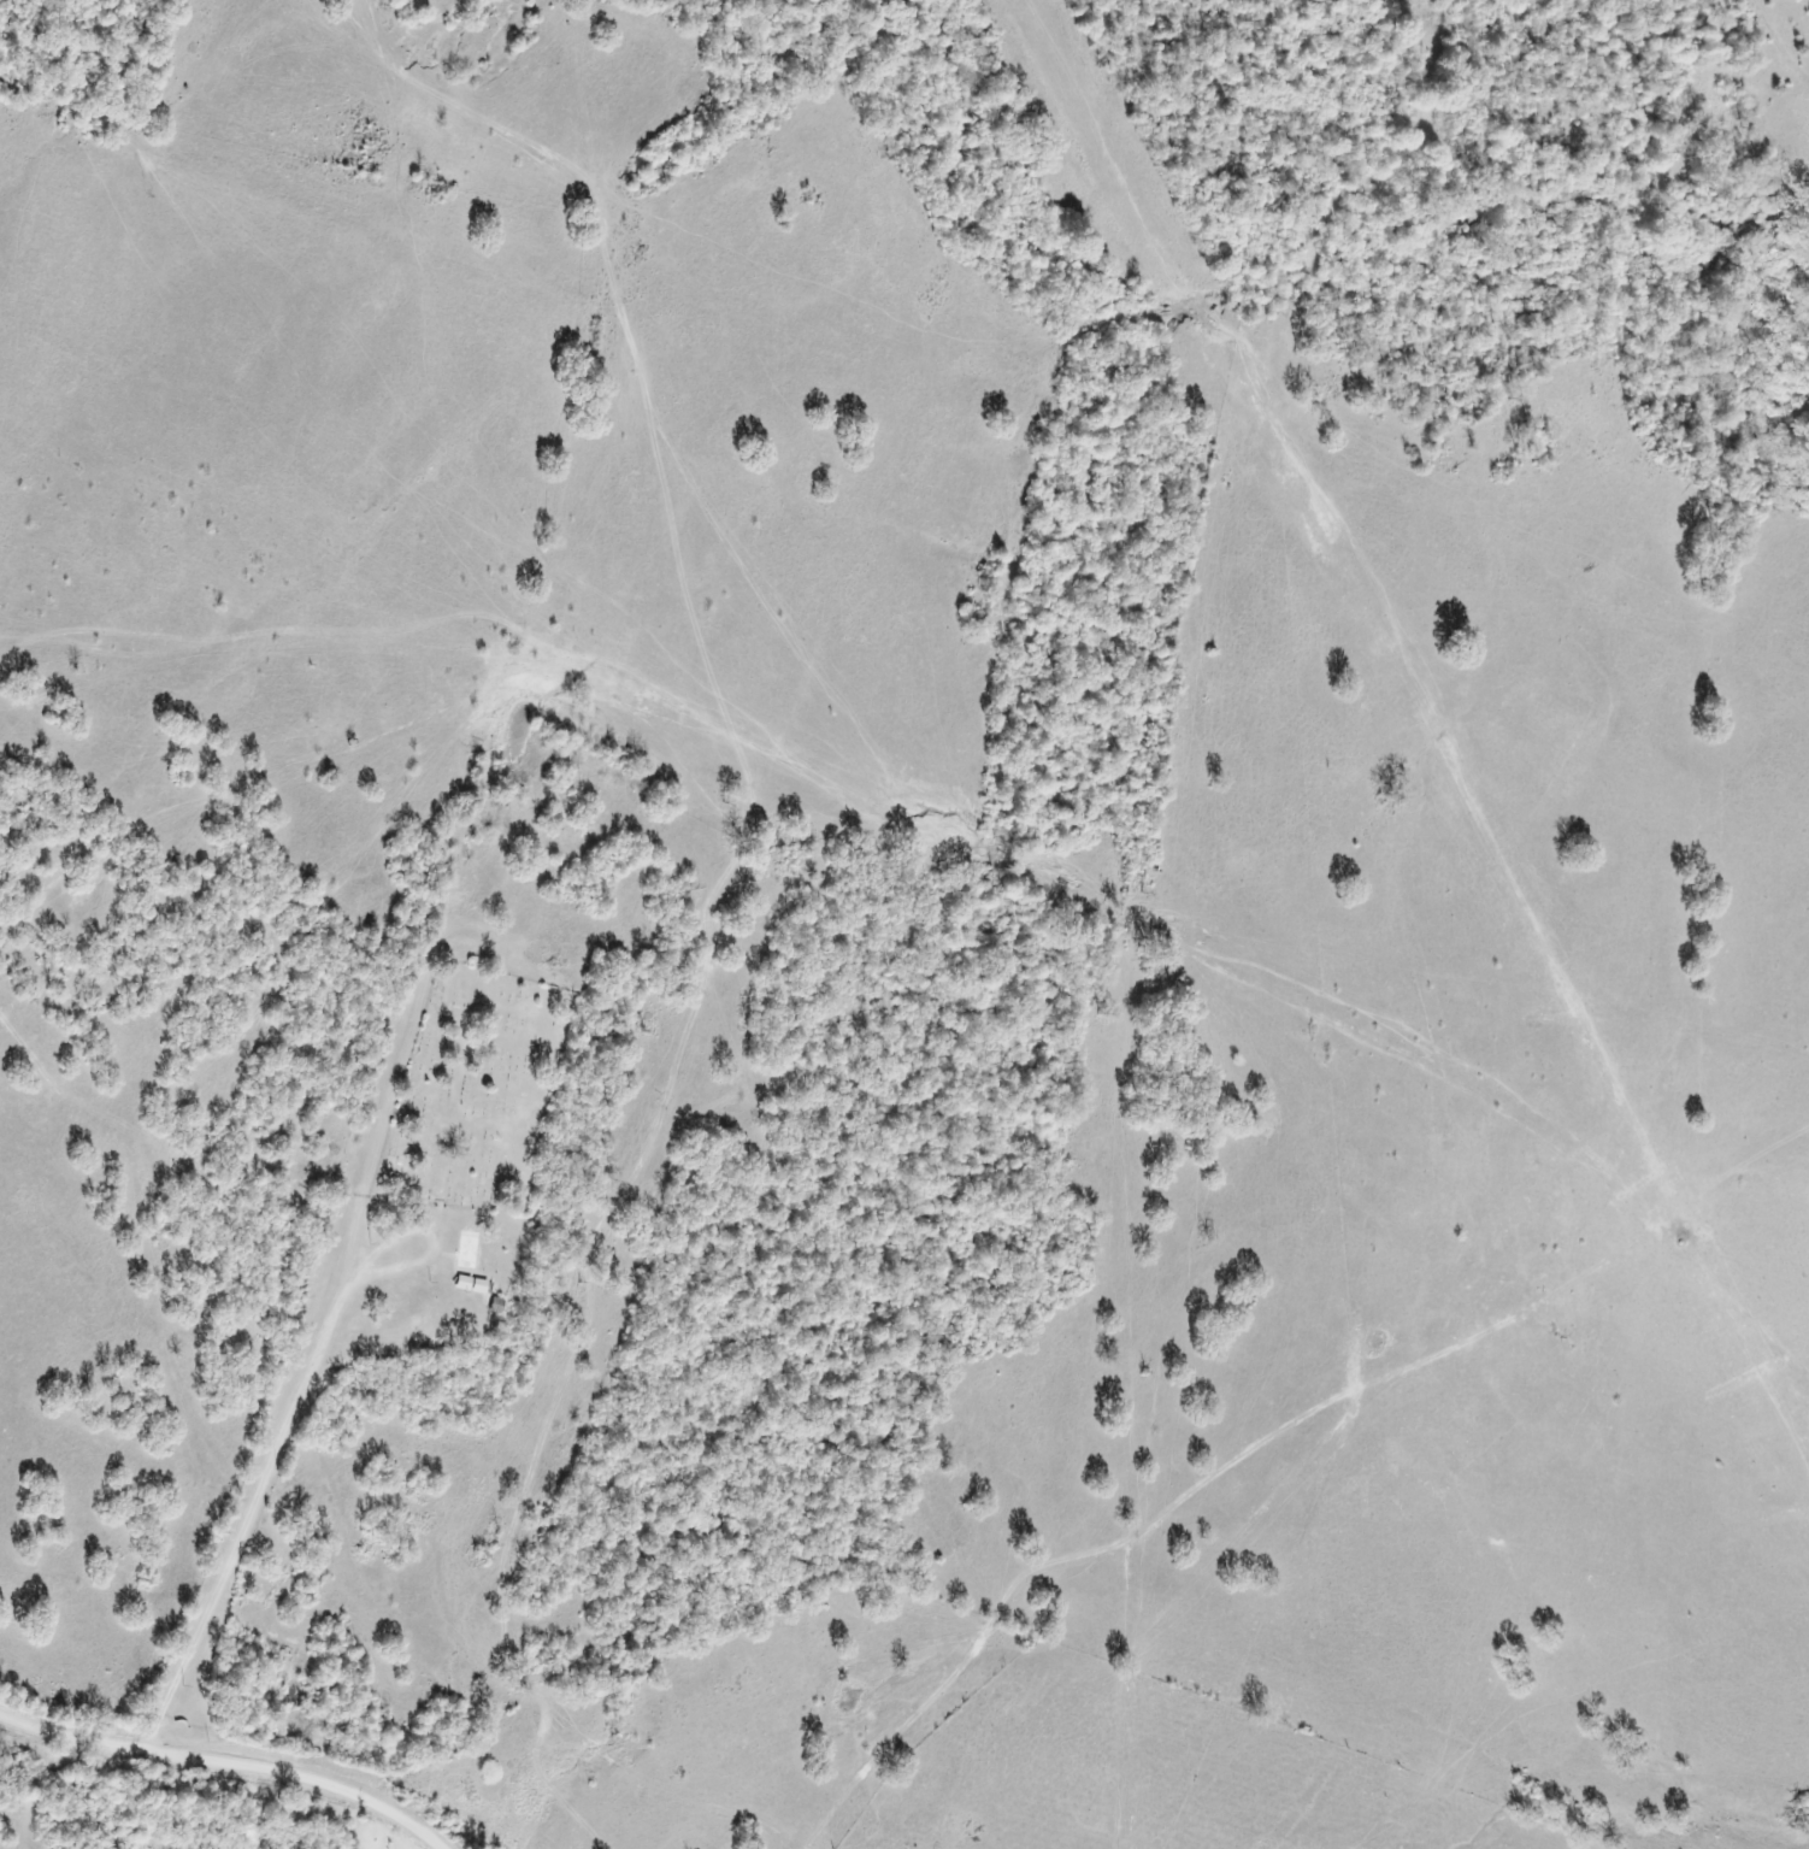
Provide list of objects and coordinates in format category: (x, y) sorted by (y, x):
road: (908, 825)
park: (479, 1097)
road: (231, 1525)
road: (225, 1763)

